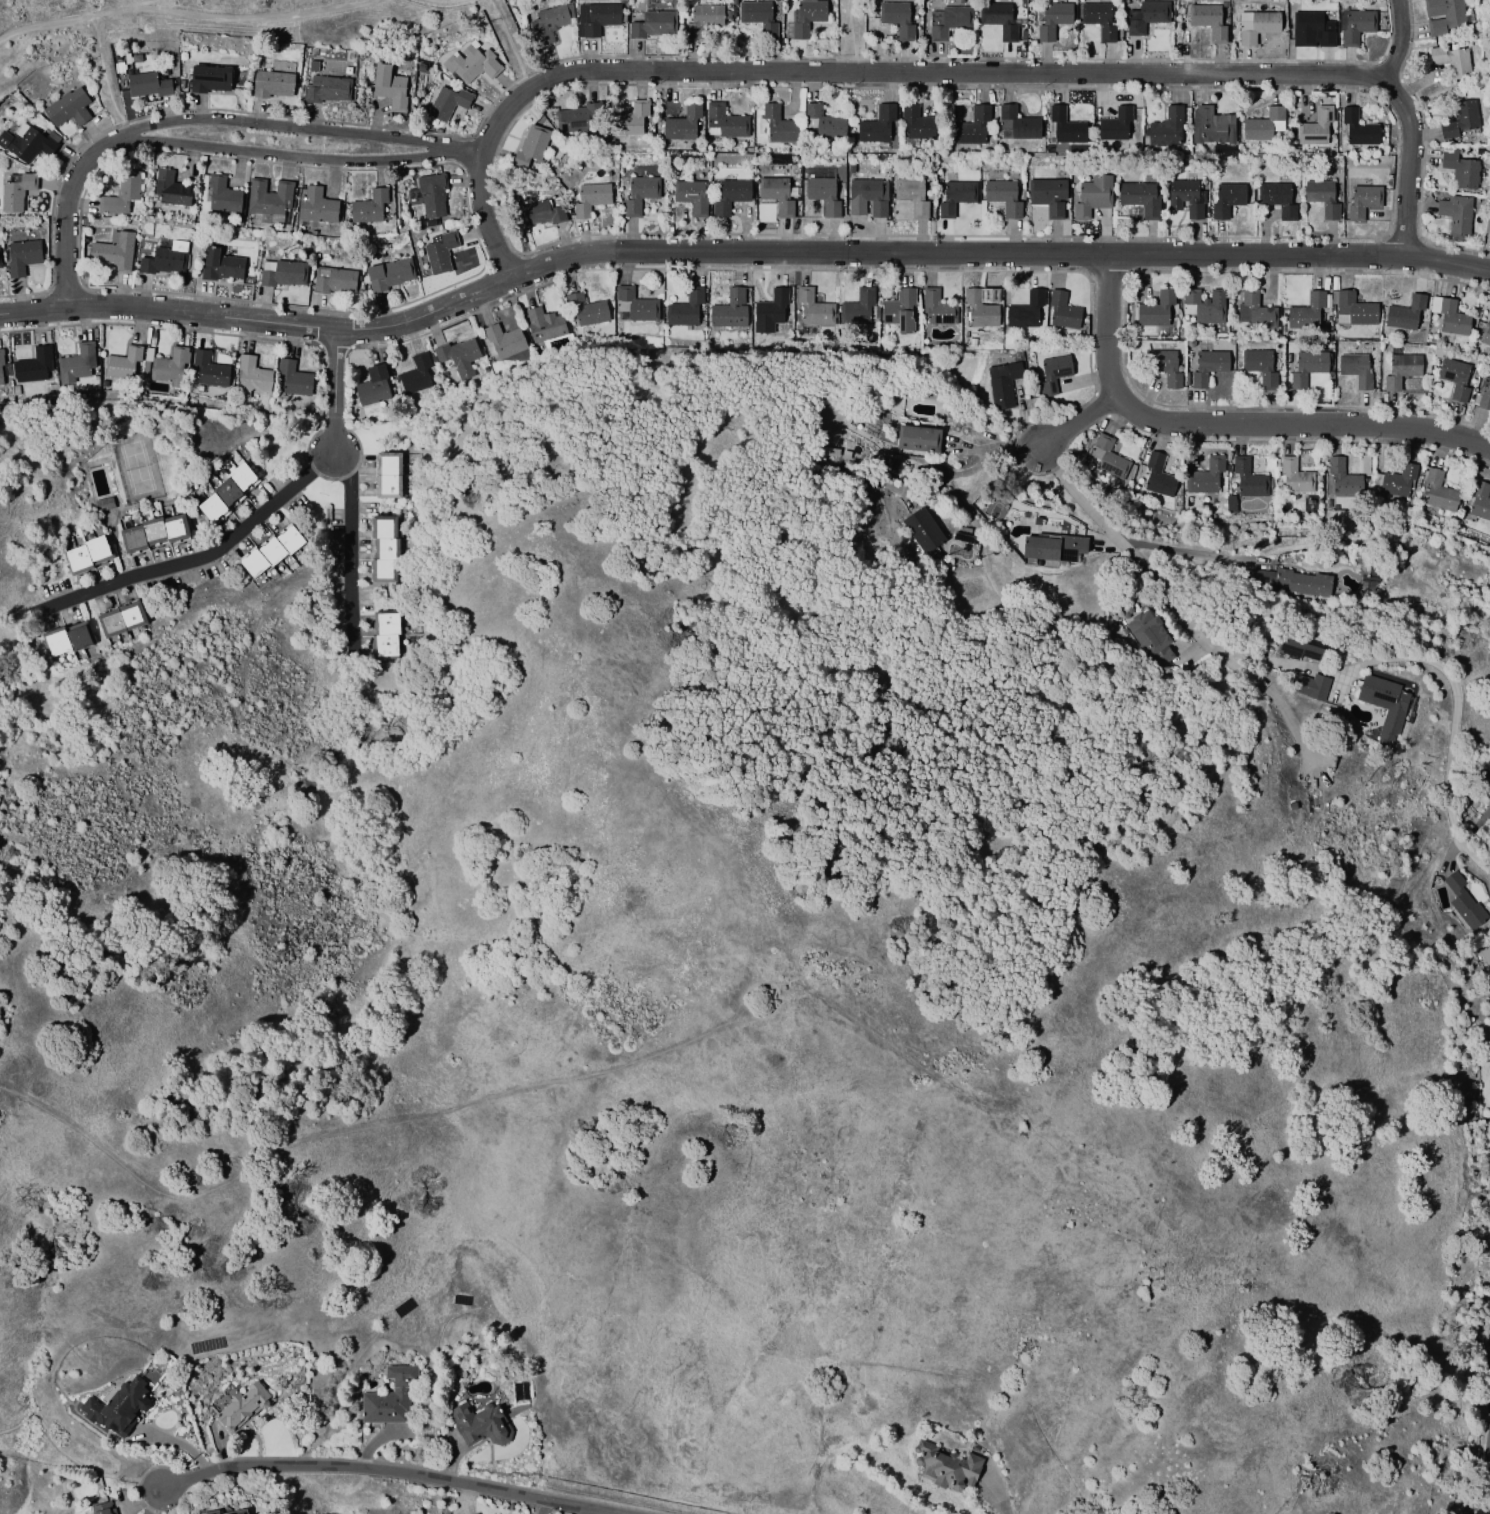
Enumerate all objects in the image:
road: (178, 13)
building: (806, 16)
building: (1146, 16)
building: (1444, 16)
building: (759, 17)
building: (595, 18)
building: (898, 18)
building: (702, 19)
building: (1100, 19)
park: (152, 20)
building: (999, 20)
building: (1053, 20)
building: (948, 21)
building: (1209, 21)
building: (548, 24)
building: (653, 25)
building: (1257, 26)
building: (1354, 27)
building: (1312, 30)
road: (849, 35)
road: (1398, 39)
road: (510, 43)
building: (1452, 60)
building: (471, 65)
road: (913, 70)
building: (208, 80)
building: (146, 85)
building: (271, 85)
building: (388, 87)
building: (326, 89)
building: (446, 103)
building: (67, 108)
building: (572, 120)
building: (631, 120)
building: (1461, 120)
building: (822, 122)
building: (725, 123)
building: (683, 124)
building: (916, 124)
building: (776, 125)
building: (1016, 125)
road: (297, 126)
building: (878, 126)
building: (1116, 126)
building: (1211, 126)
building: (1264, 126)
building: (974, 127)
building: (1065, 128)
building: (1166, 129)
building: (1315, 129)
building: (1357, 129)
building: (27, 144)
building: (528, 149)
road: (298, 155)
road: (1408, 161)
building: (1459, 169)
building: (169, 190)
building: (15, 192)
building: (639, 193)
building: (121, 194)
building: (776, 194)
building: (823, 194)
building: (912, 194)
building: (220, 195)
building: (690, 195)
building: (730, 195)
building: (1003, 195)
building: (1048, 195)
building: (1092, 195)
building: (867, 196)
building: (956, 196)
building: (1142, 196)
building: (1322, 196)
building: (432, 197)
building: (1185, 197)
building: (589, 198)
building: (1227, 198)
building: (1277, 198)
building: (268, 199)
building: (1363, 199)
building: (315, 206)
building: (368, 208)
building: (539, 212)
road: (65, 213)
road: (495, 214)
building: (1456, 216)
building: (1489, 233)
road: (738, 251)
building: (112, 254)
building: (439, 254)
building: (21, 257)
building: (166, 260)
building: (220, 266)
building: (0, 267)
building: (282, 275)
building: (389, 275)
building: (334, 282)
building: (635, 306)
building: (1204, 307)
building: (814, 308)
building: (860, 308)
building: (938, 309)
building: (587, 310)
building: (686, 310)
building: (732, 310)
building: (979, 310)
building: (901, 311)
building: (1157, 311)
building: (1254, 311)
building: (1354, 311)
building: (773, 312)
building: (1026, 312)
building: (1063, 312)
building: (1307, 313)
building: (1406, 313)
building: (1450, 317)
building: (545, 326)
building: (1485, 335)
building: (505, 342)
building: (459, 353)
building: (78, 365)
building: (125, 365)
building: (1260, 366)
building: (35, 367)
building: (170, 367)
building: (1164, 367)
building: (1208, 367)
building: (1306, 368)
building: (1, 370)
building: (1401, 370)
building: (208, 371)
building: (1358, 371)
building: (1054, 373)
building: (252, 376)
building: (417, 377)
building: (1456, 378)
building: (292, 380)
building: (1003, 385)
building: (373, 387)
building: (1484, 395)
road: (1229, 422)
road: (1077, 424)
building: (918, 440)
building: (1108, 459)
road: (991, 460)
building: (388, 476)
building: (1158, 477)
building: (1295, 478)
building: (1343, 478)
building: (1207, 479)
building: (1248, 480)
building: (1397, 482)
road: (355, 488)
building: (1438, 493)
building: (224, 494)
building: (1479, 502)
building: (104, 504)
building: (923, 530)
building: (151, 534)
building: (382, 549)
building: (1053, 549)
road: (1183, 551)
building: (270, 553)
building: (86, 556)
road: (203, 558)
building: (1292, 583)
road: (1171, 610)
building: (121, 620)
building: (388, 636)
building: (1150, 636)
building: (68, 640)
building: (1297, 651)
building: (1309, 687)
building: (1380, 705)
road: (1453, 725)
building: (1463, 902)
building: (1486, 956)
road: (84, 1138)
building: (1488, 1345)
building: (389, 1397)
building: (1489, 1397)
building: (242, 1406)
building: (118, 1407)
building: (481, 1424)
building: (1486, 1449)
road: (70, 1459)
building: (946, 1466)
road: (382, 1472)
road: (1000, 1497)
road: (155, 1503)
road: (539, 1507)
building: (103, 1509)
building: (1481, 1510)
building: (240, 1511)
building: (211, 1512)
building: (476, 1513)

